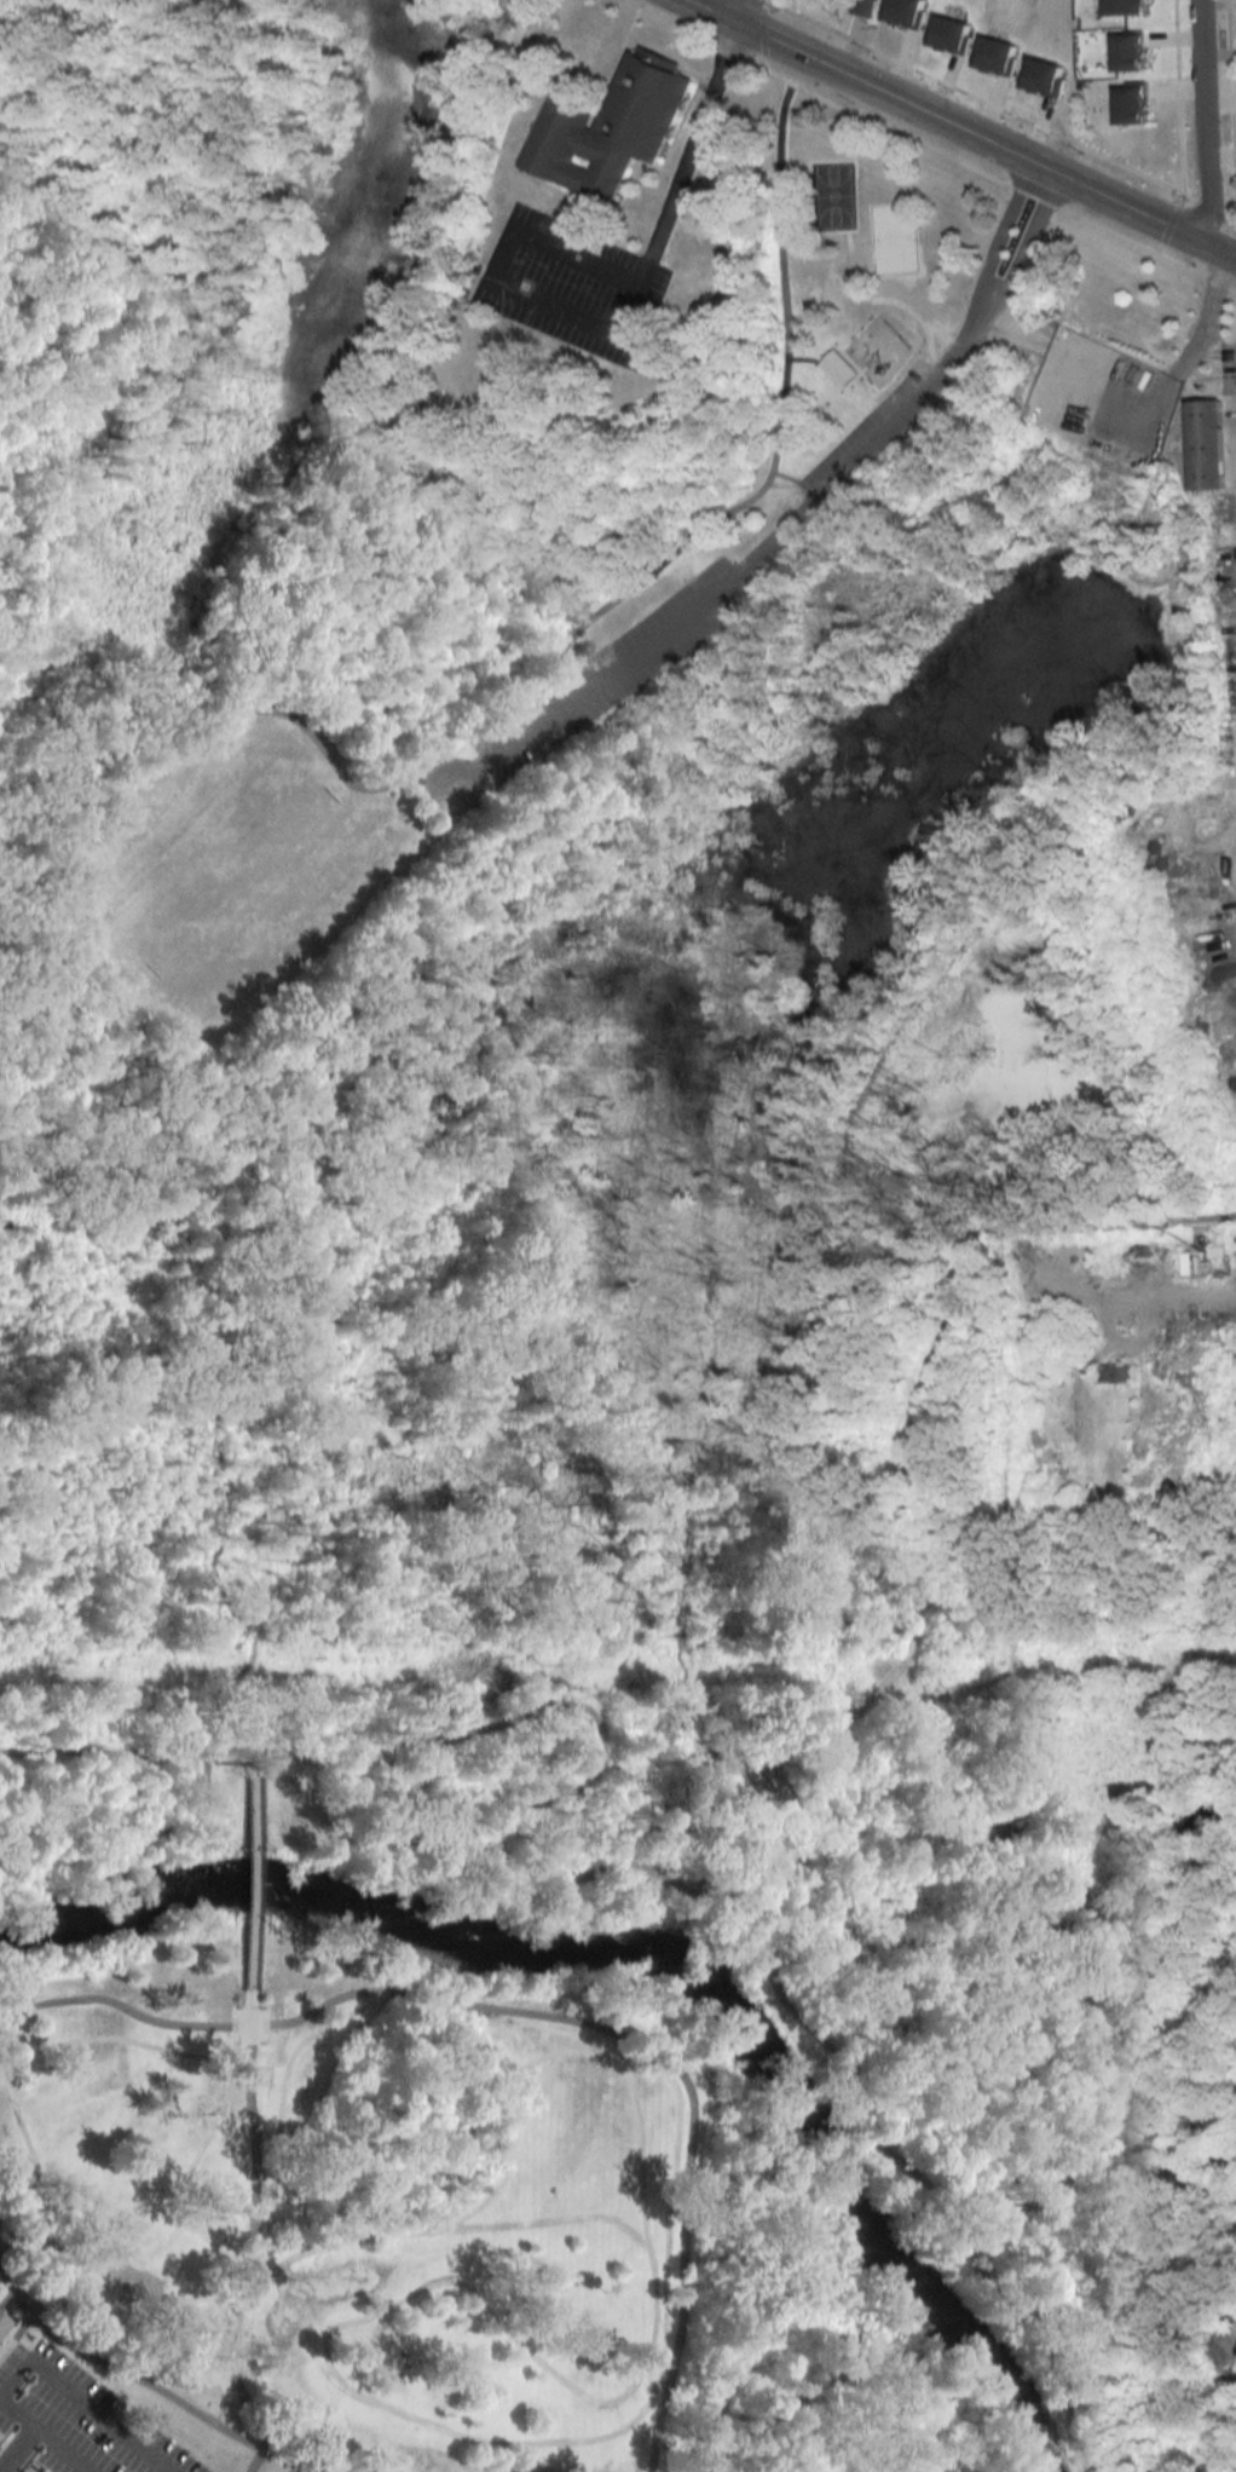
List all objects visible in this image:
building: (862, 6)
road: (730, 12)
road: (998, 109)
road: (1201, 121)
road: (955, 127)
building: (607, 128)
road: (1179, 129)
road: (978, 173)
park: (832, 194)
road: (997, 243)
road: (1020, 255)
parking lot: (572, 288)
road: (616, 341)
road: (1195, 345)
building: (837, 368)
road: (831, 376)
road: (873, 402)
parking lot: (870, 433)
building: (1207, 445)
road: (774, 459)
road: (796, 482)
building: (1225, 540)
park: (720, 563)
road: (730, 580)
parking lot: (613, 670)
road: (213, 726)
road: (426, 784)
park: (237, 882)
road: (7, 996)
road: (1119, 1223)
building: (1232, 1331)
building: (1111, 1375)
road: (207, 1413)
park: (588, 1555)
road: (795, 1583)
road: (919, 1586)
road: (1061, 1620)
road: (521, 1716)
road: (86, 1754)
road: (250, 1761)
road: (174, 1828)
road: (347, 1838)
road: (250, 1882)
road: (793, 1906)
river: (642, 1967)
road: (522, 2032)
road: (51, 2047)
road: (843, 2069)
road: (1105, 2102)
park: (360, 2215)
road: (551, 2220)
road: (252, 2237)
road: (5, 2301)
building: (2, 2324)
road: (12, 2334)
road: (140, 2387)
road: (81, 2402)
road: (392, 2409)
parking lot: (70, 2421)
road: (655, 2431)
road: (42, 2438)
road: (17, 2451)
road: (284, 2467)

